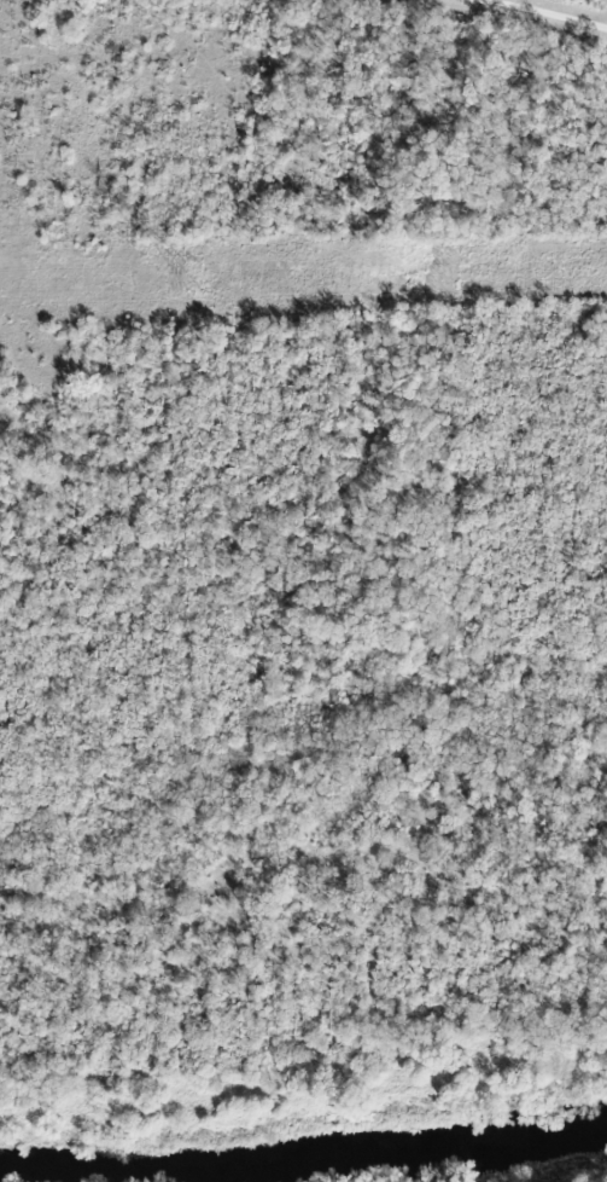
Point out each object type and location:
road: (530, 18)
power tower: (198, 278)
river: (304, 1164)

